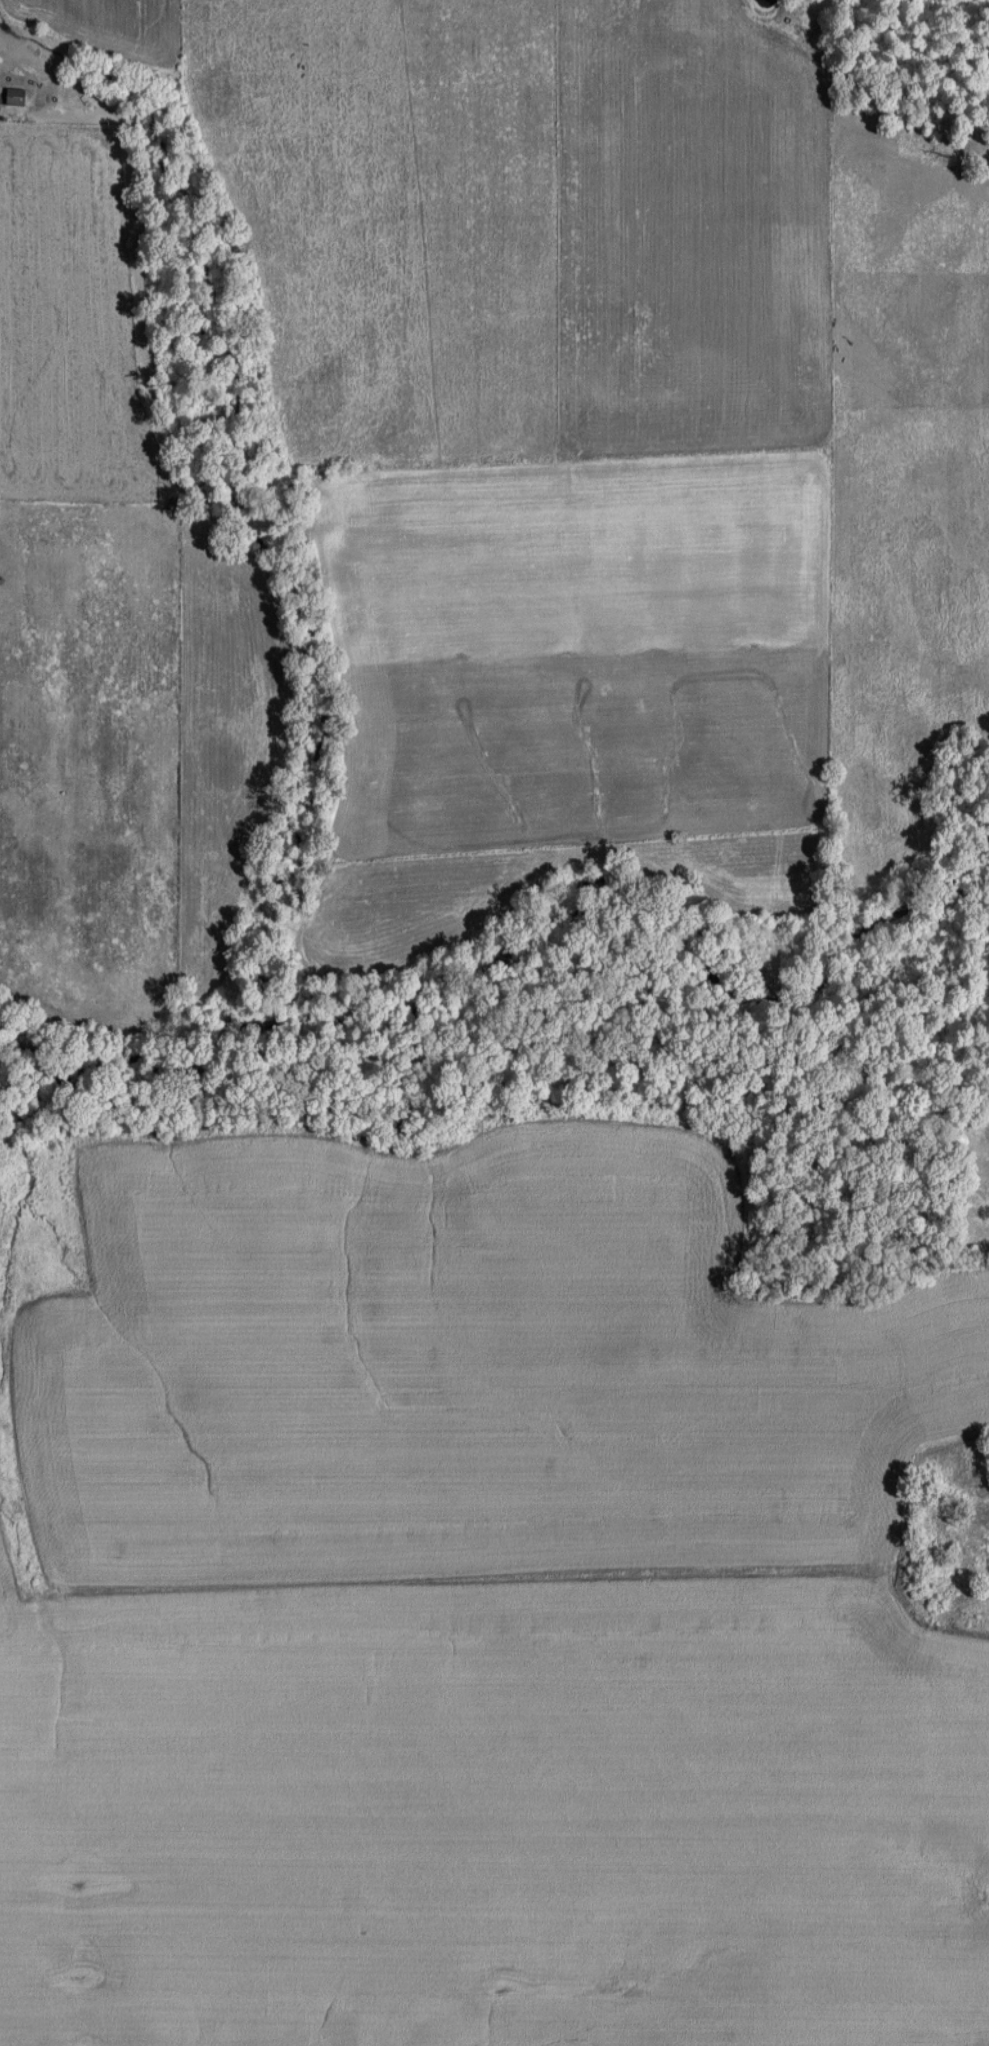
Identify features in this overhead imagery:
building: (11, 96)

